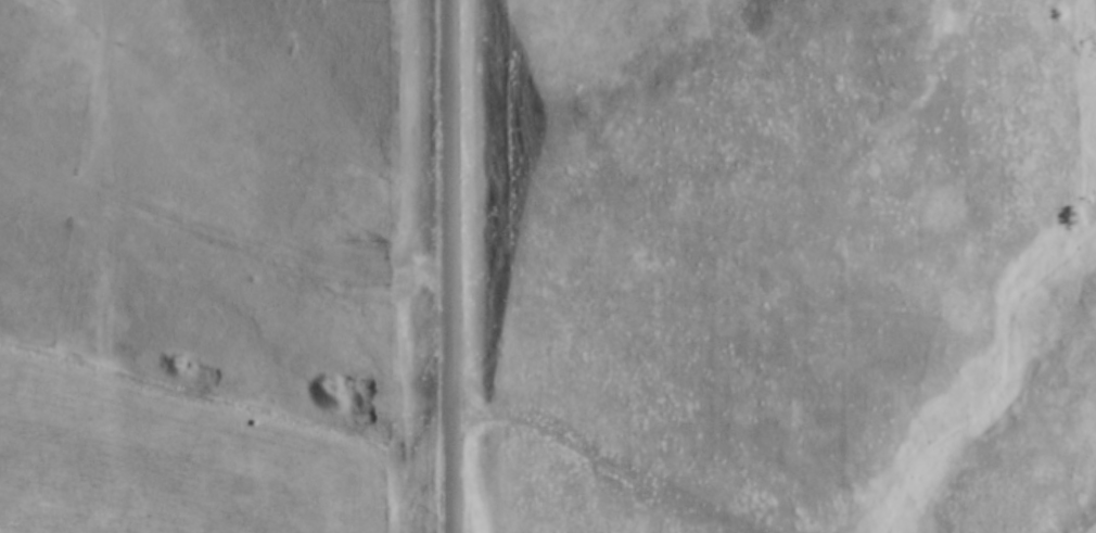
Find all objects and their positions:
road: (450, 266)
road: (611, 471)
road: (1079, 518)

